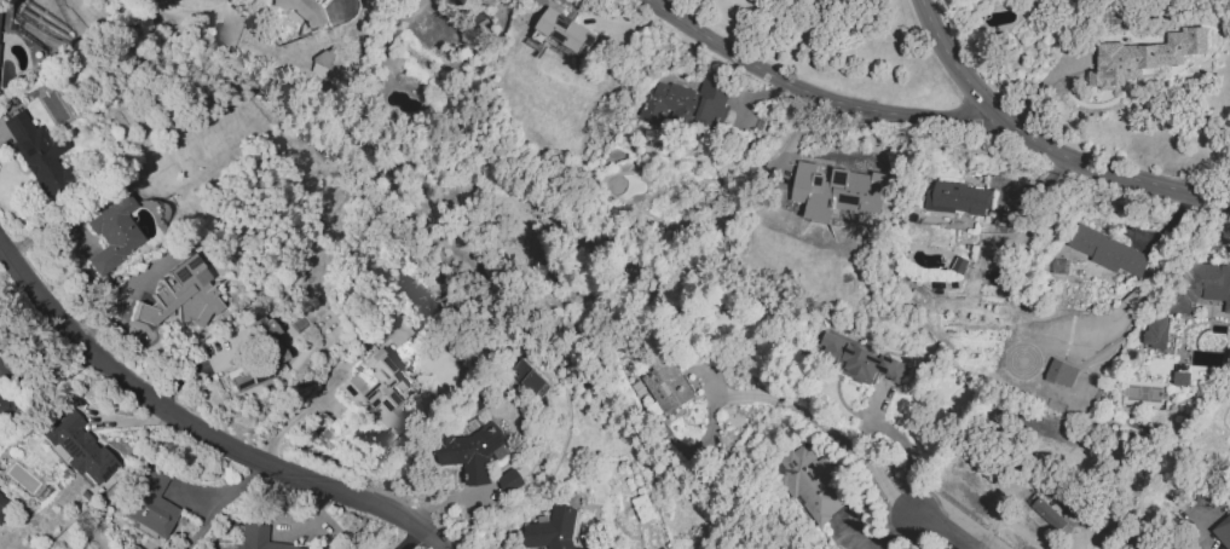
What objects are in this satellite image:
building: (304, 8)
road: (340, 12)
building: (2, 17)
building: (566, 31)
building: (1144, 57)
building: (321, 63)
road: (804, 87)
building: (685, 103)
road: (1043, 145)
building: (36, 152)
building: (838, 191)
building: (958, 198)
building: (112, 233)
road: (1, 248)
building: (1105, 250)
building: (1200, 287)
building: (179, 297)
building: (260, 328)
building: (1155, 333)
building: (856, 360)
building: (253, 369)
building: (1061, 372)
building: (529, 376)
building: (1180, 378)
building: (666, 386)
building: (376, 391)
building: (7, 405)
road: (293, 418)
road: (201, 426)
road: (824, 426)
road: (902, 441)
building: (75, 446)
building: (468, 453)
building: (509, 480)
building: (808, 484)
building: (150, 503)
building: (1046, 514)
building: (552, 530)
road: (939, 531)
building: (1223, 532)
building: (258, 538)

